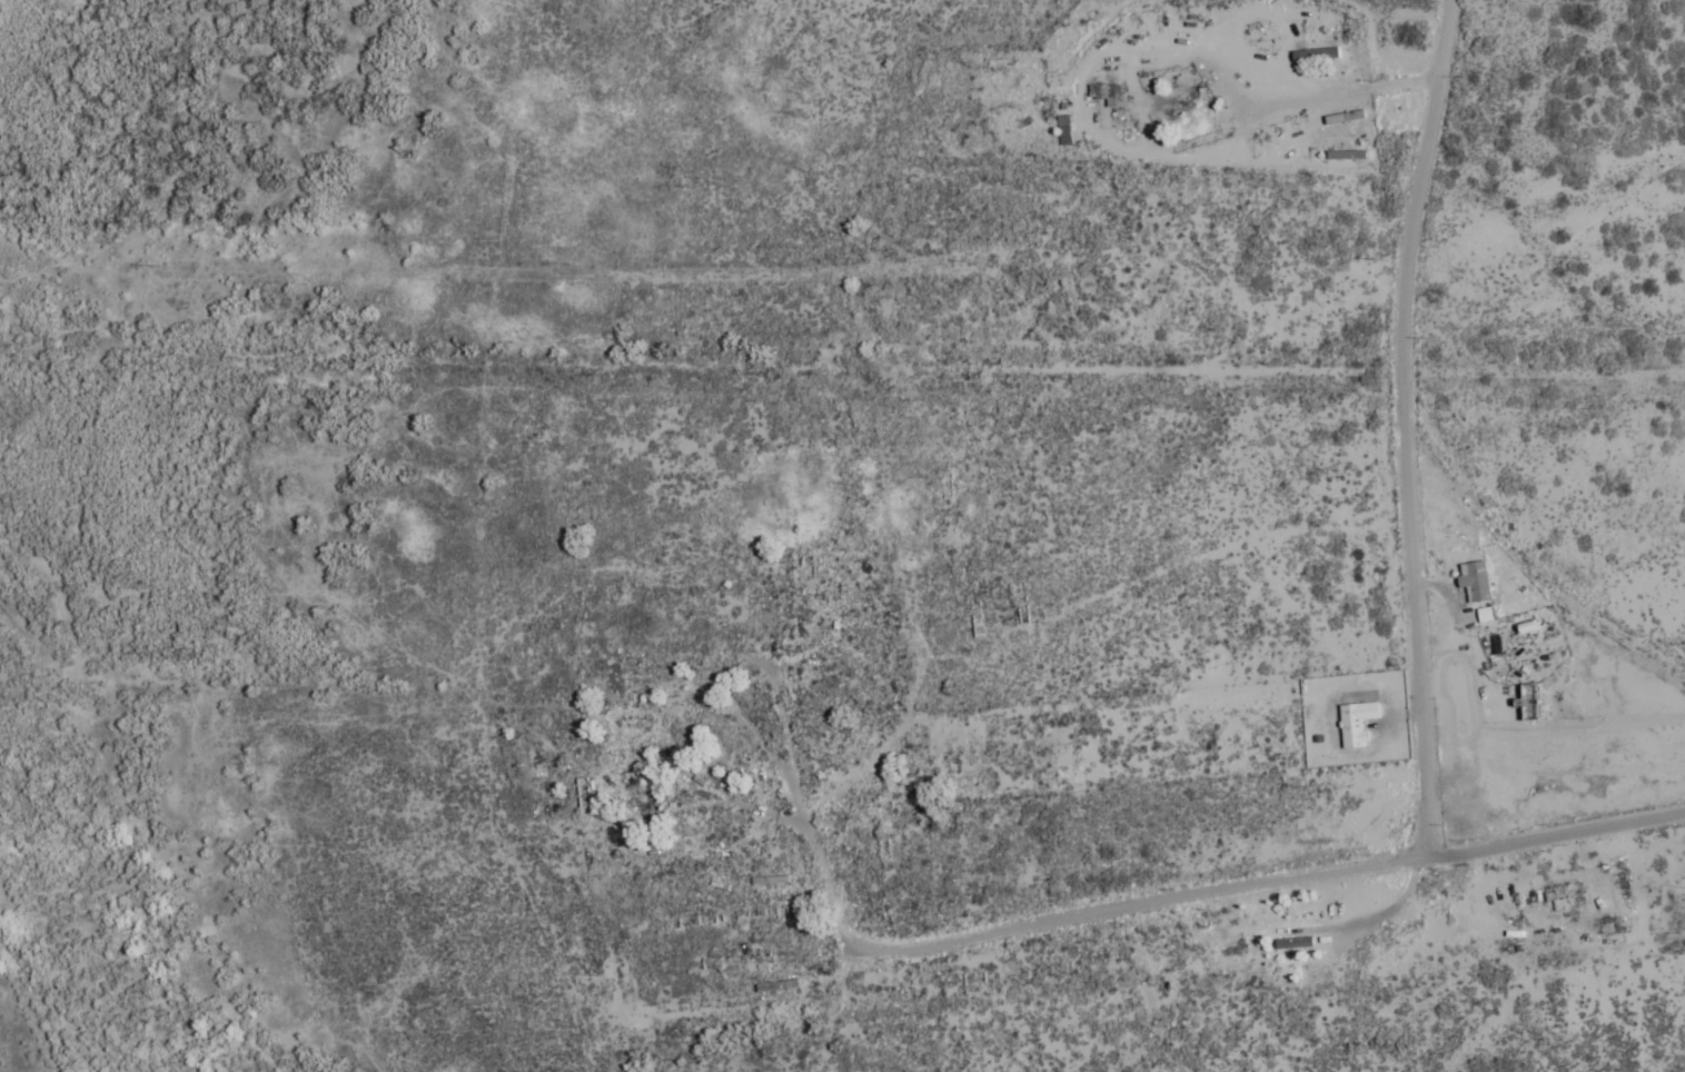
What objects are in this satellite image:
building: (1321, 52)
building: (1102, 95)
building: (1179, 103)
building: (1062, 131)
building: (1346, 156)
road: (1407, 222)
building: (1475, 583)
road: (1415, 724)
building: (1356, 725)
building: (962, 767)
road: (807, 936)
building: (1294, 945)
building: (776, 987)

